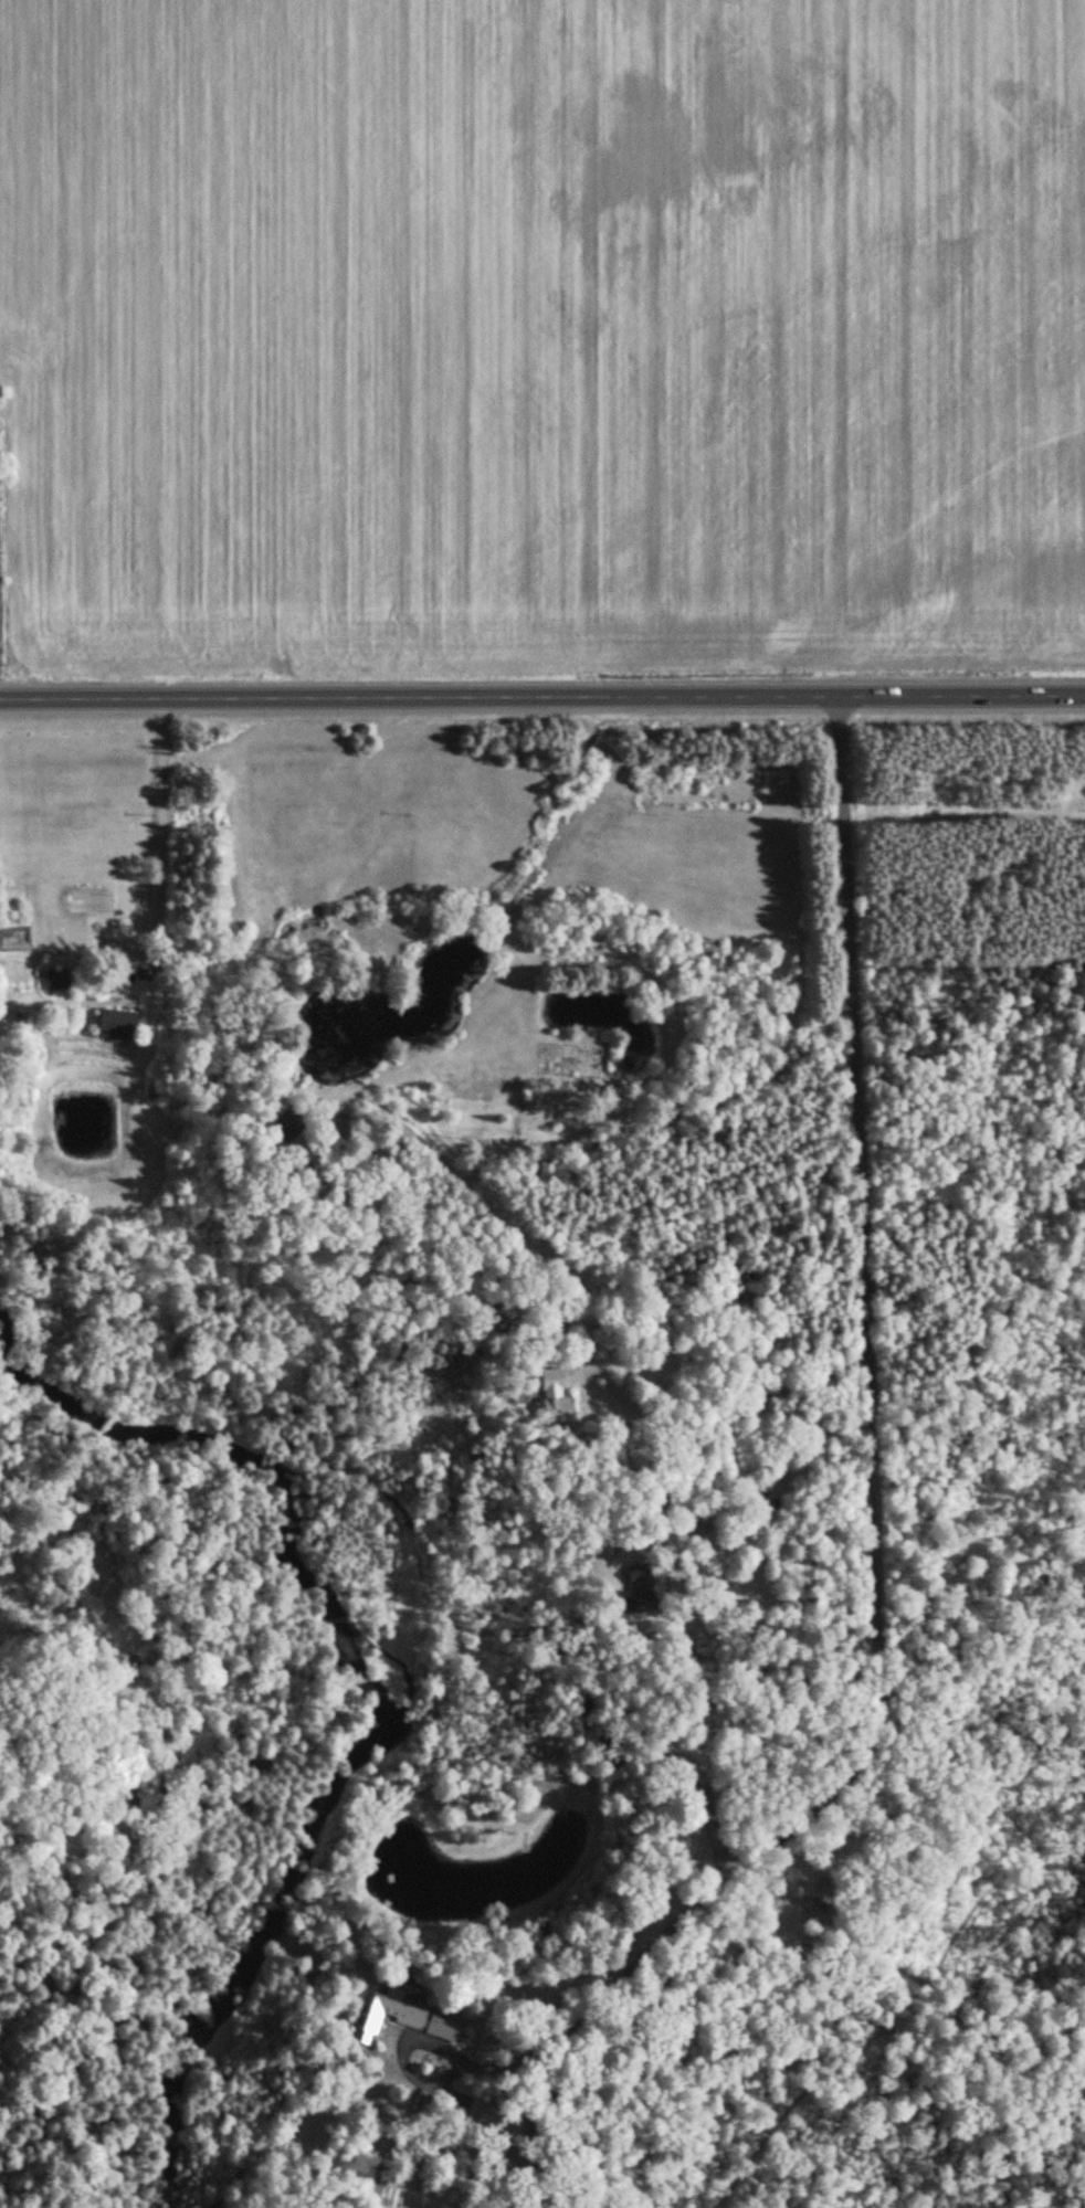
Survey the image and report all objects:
road: (541, 697)
road: (161, 836)
building: (57, 978)
building: (116, 1024)
building: (285, 1128)
road: (644, 1137)
building: (551, 1393)
road: (876, 1512)
building: (639, 1592)
river: (378, 1698)
building: (407, 2016)

